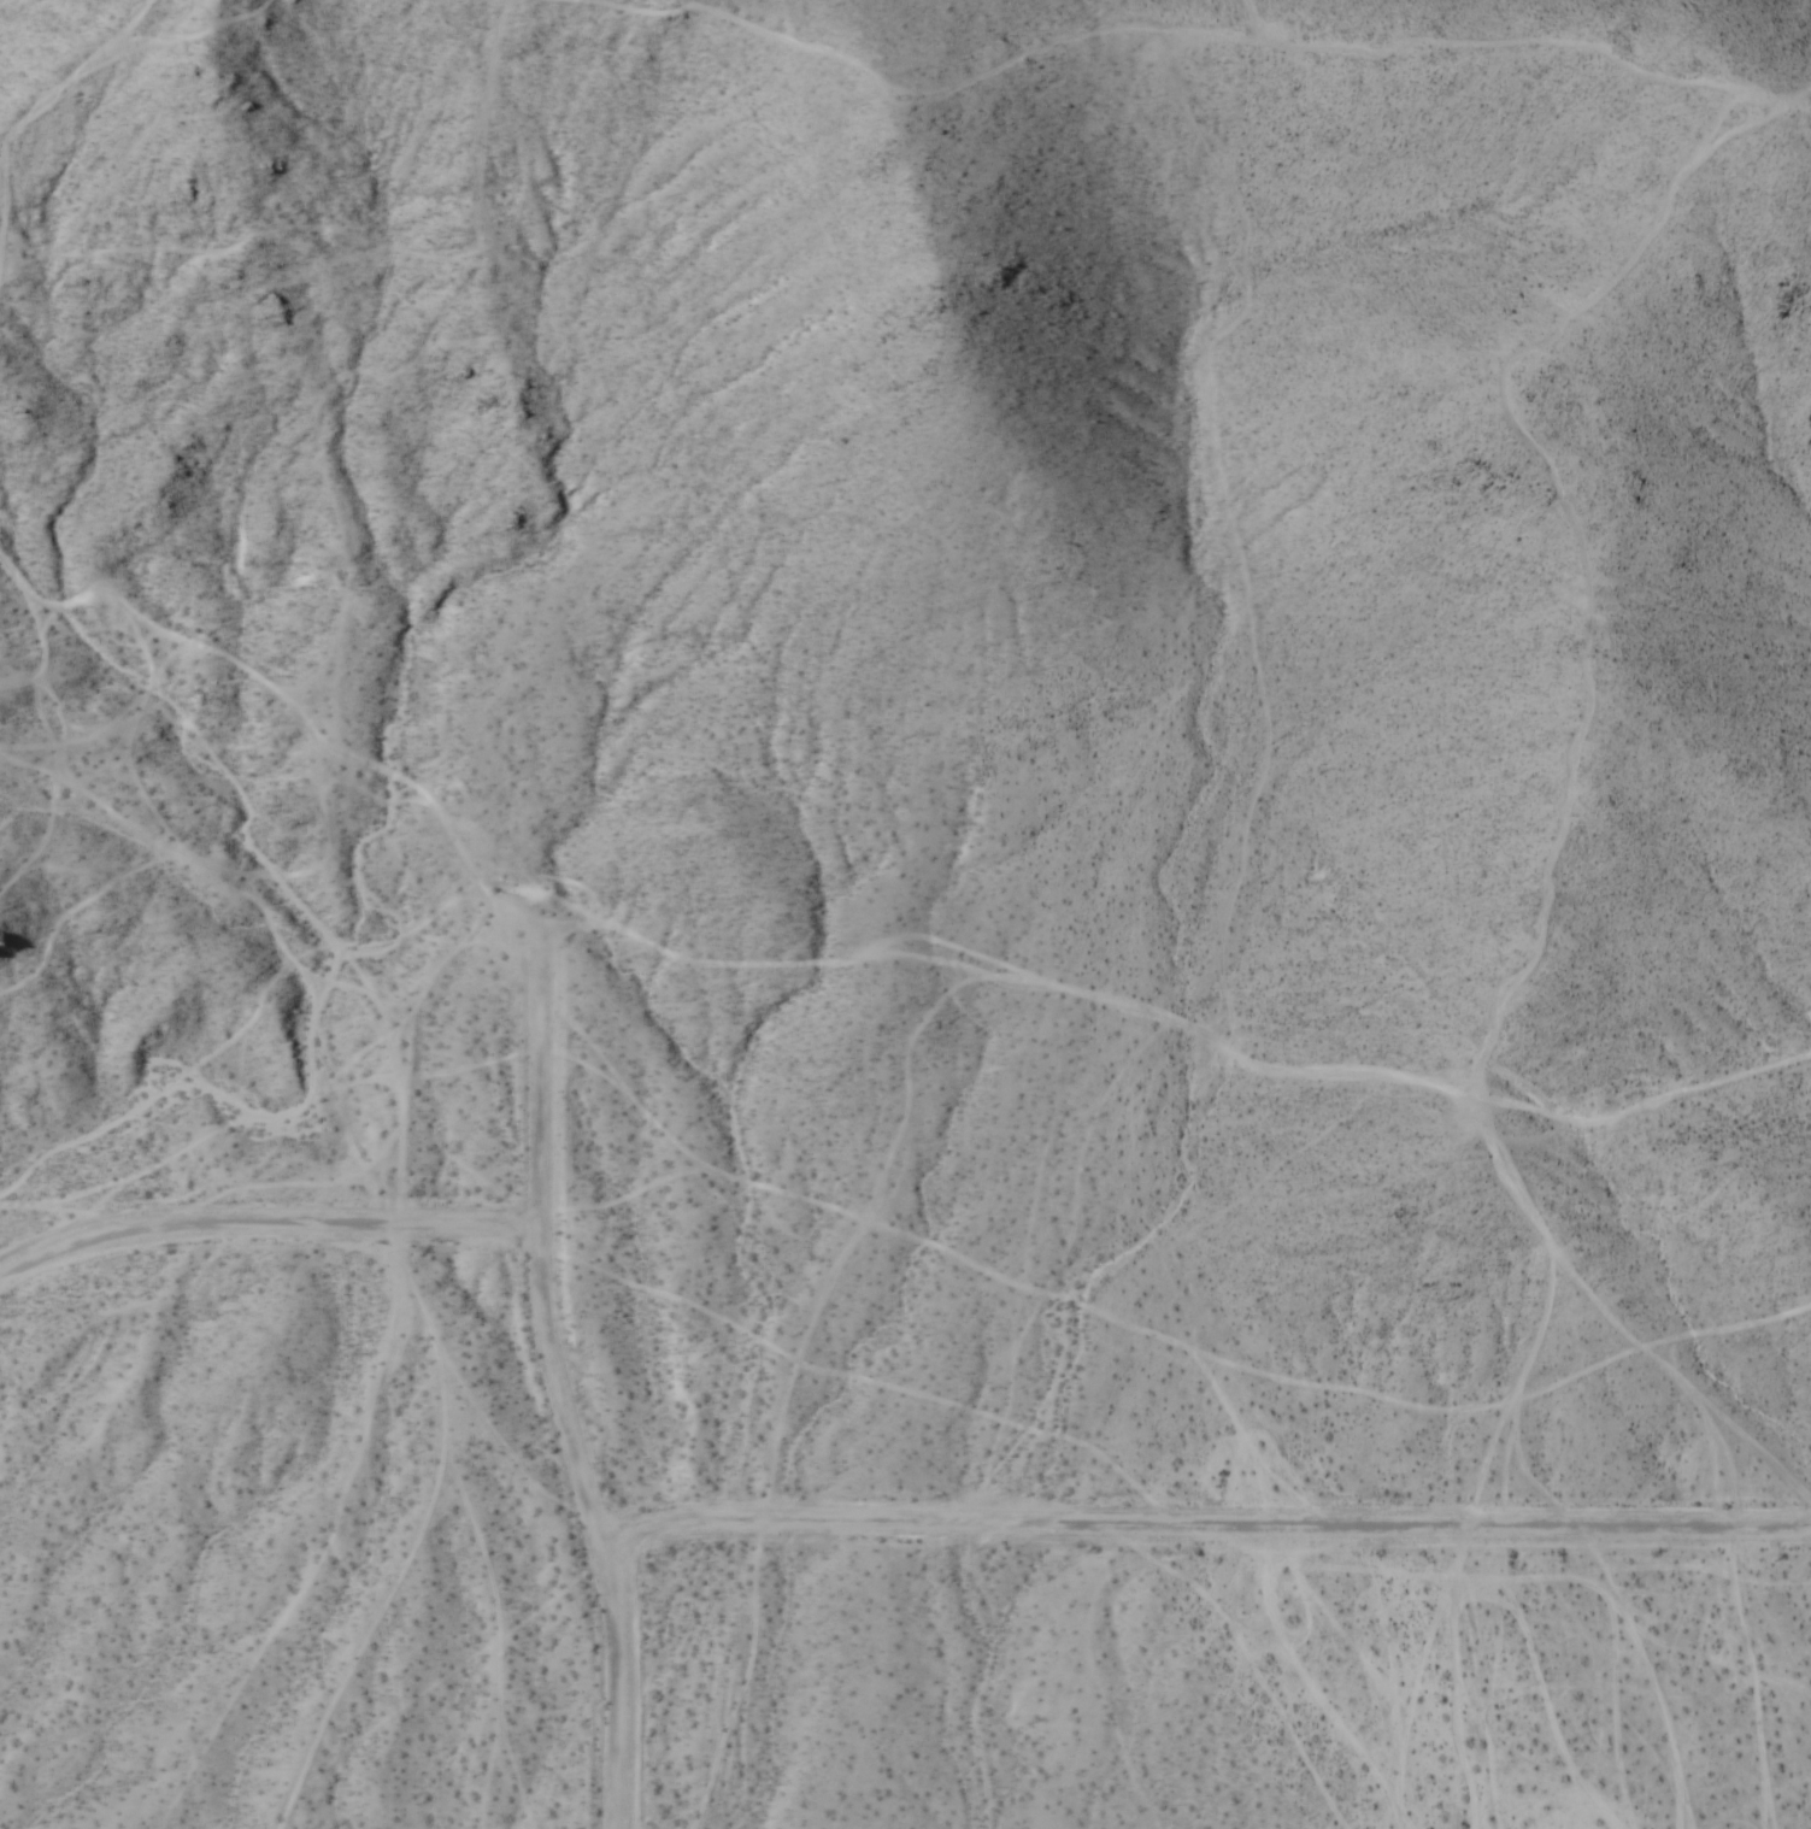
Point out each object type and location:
road: (266, 1225)
road: (565, 1413)
road: (1203, 1525)

